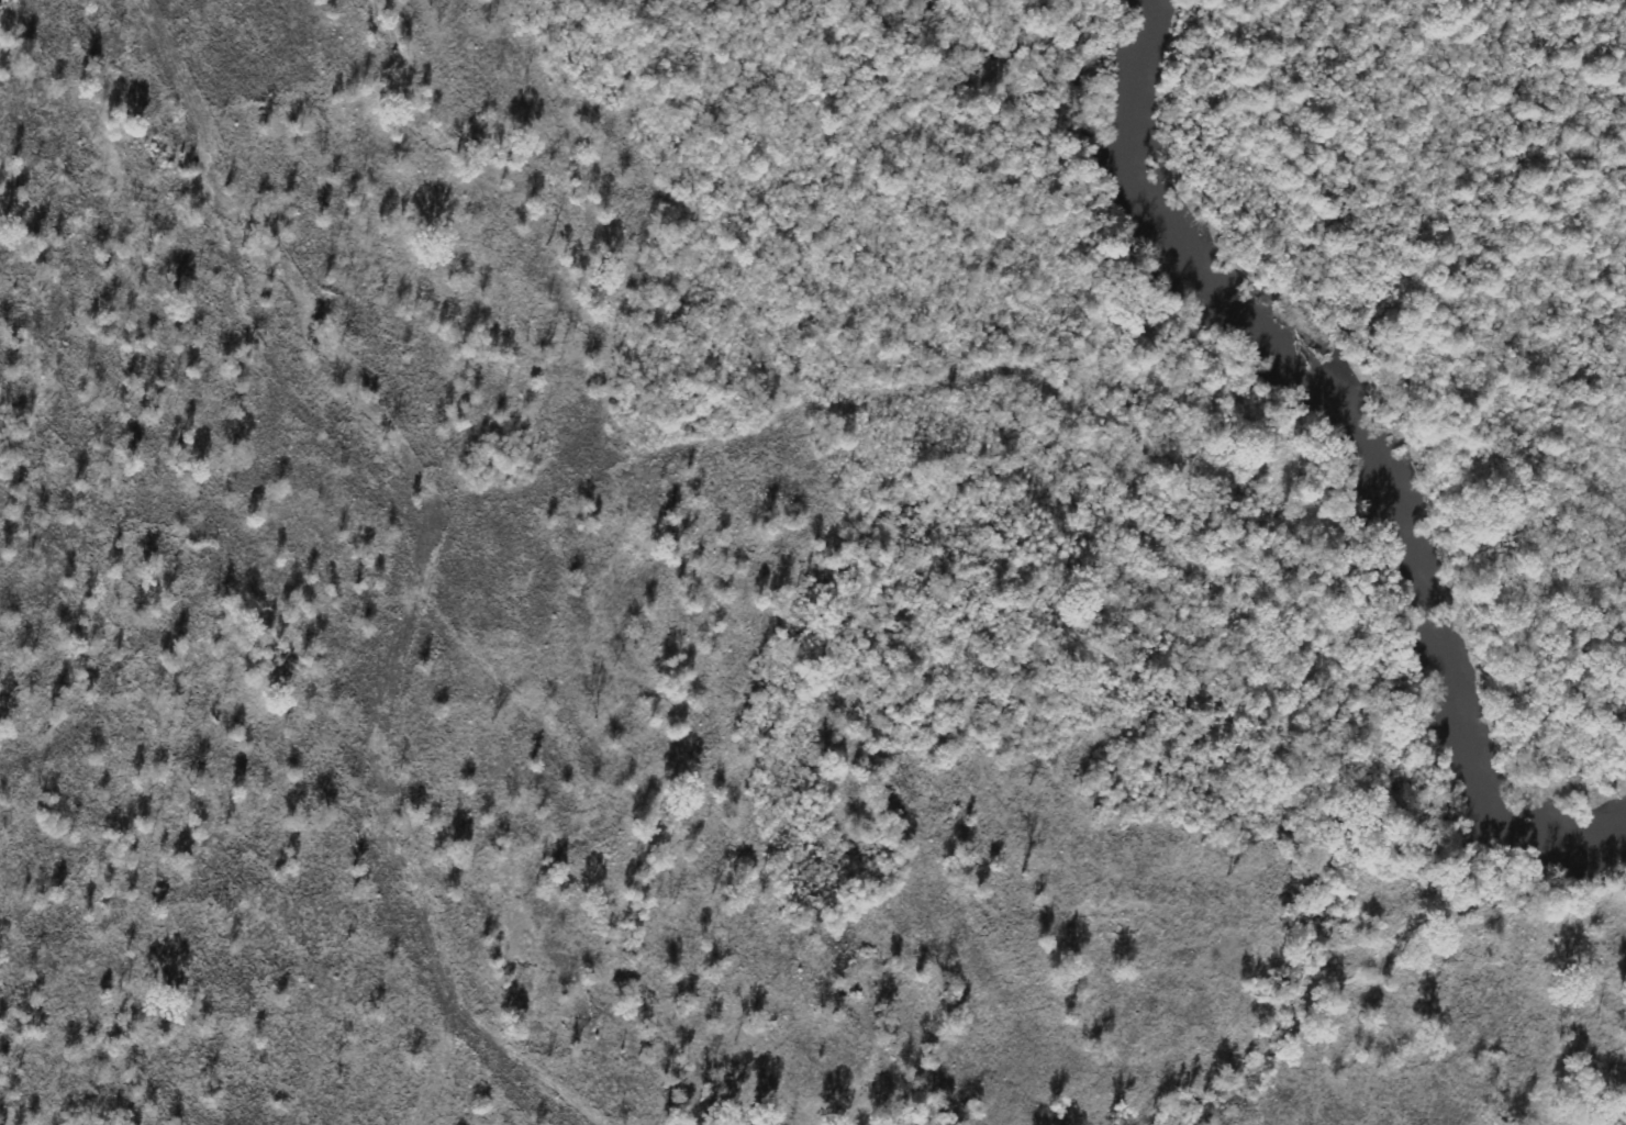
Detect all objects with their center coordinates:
river: (1366, 443)

